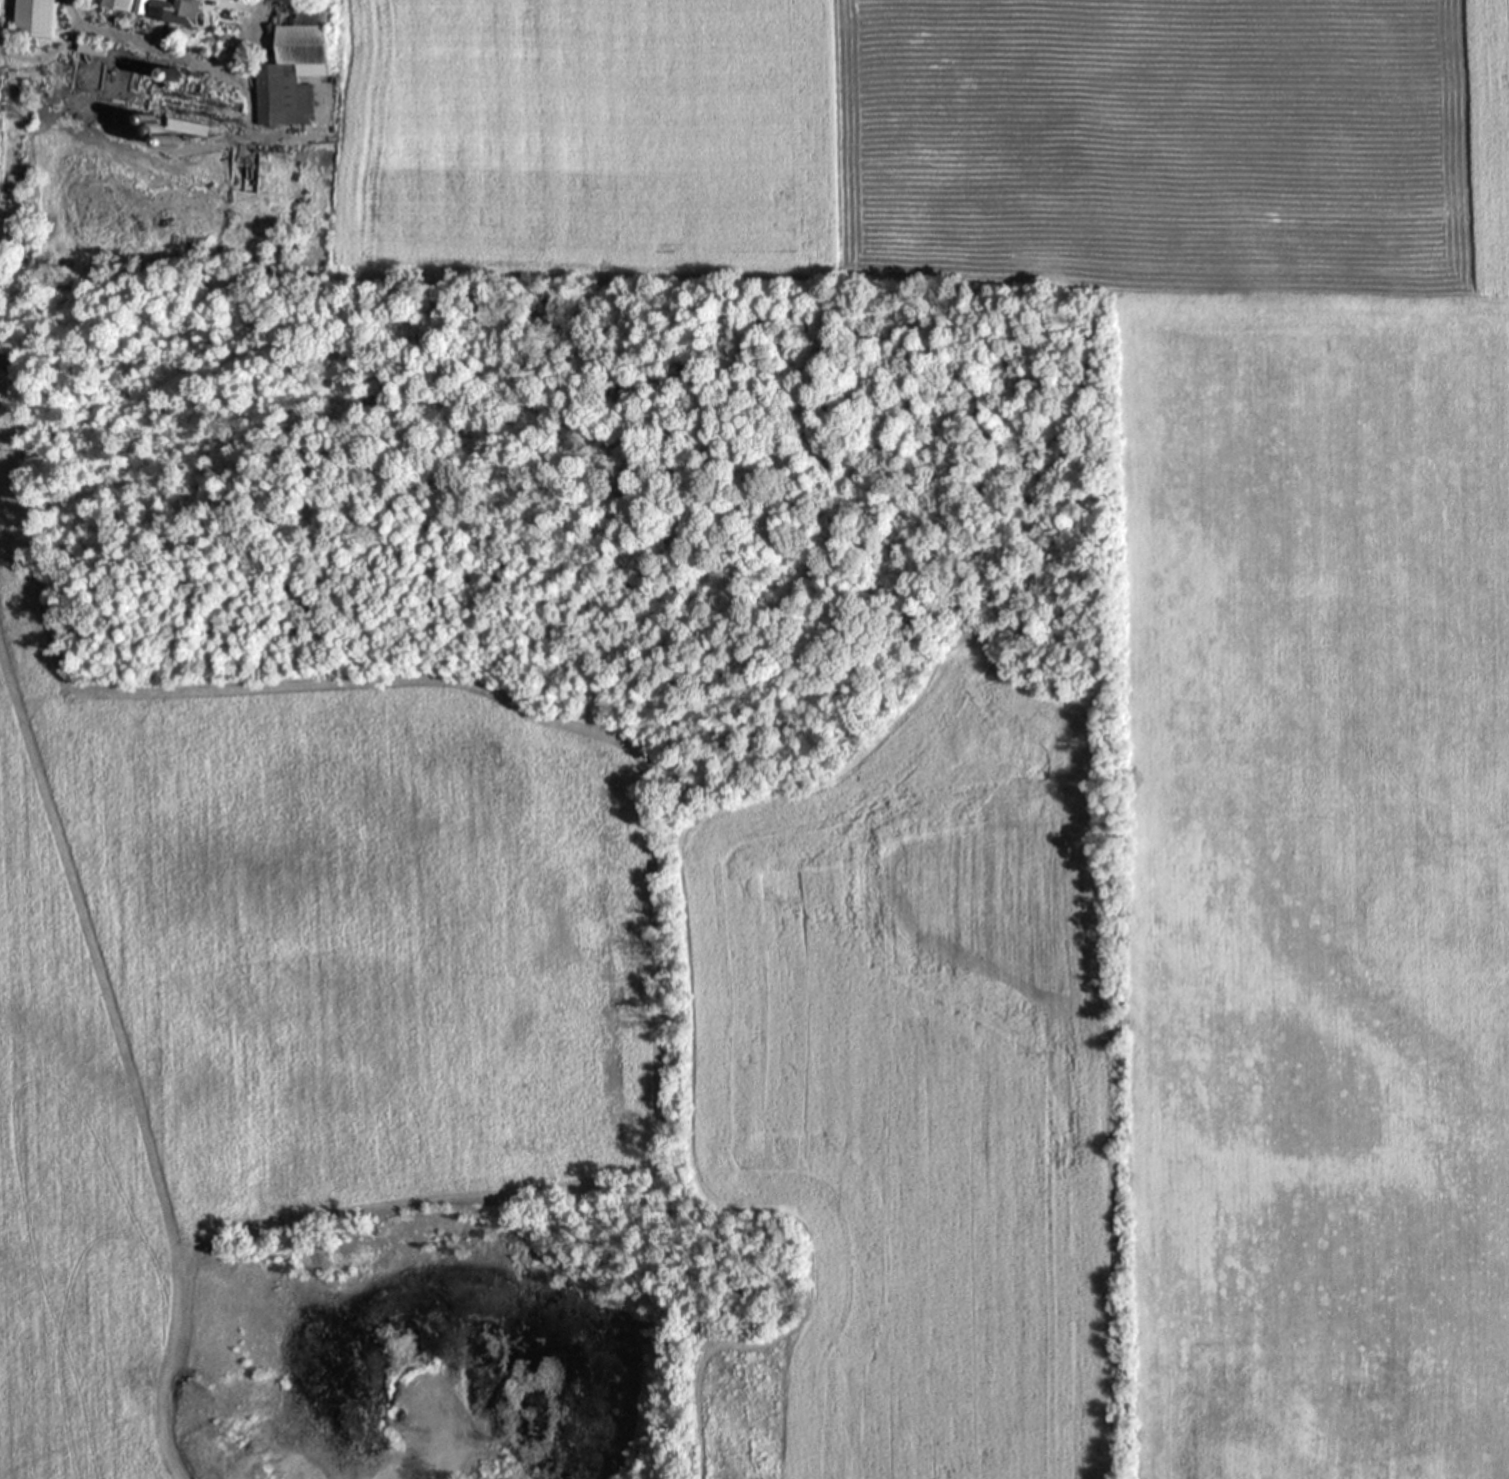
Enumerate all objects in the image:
building: (114, 4)
building: (170, 11)
building: (30, 18)
building: (289, 64)
building: (187, 110)
road: (501, 1187)
quarry: (427, 1356)
road: (436, 1466)

